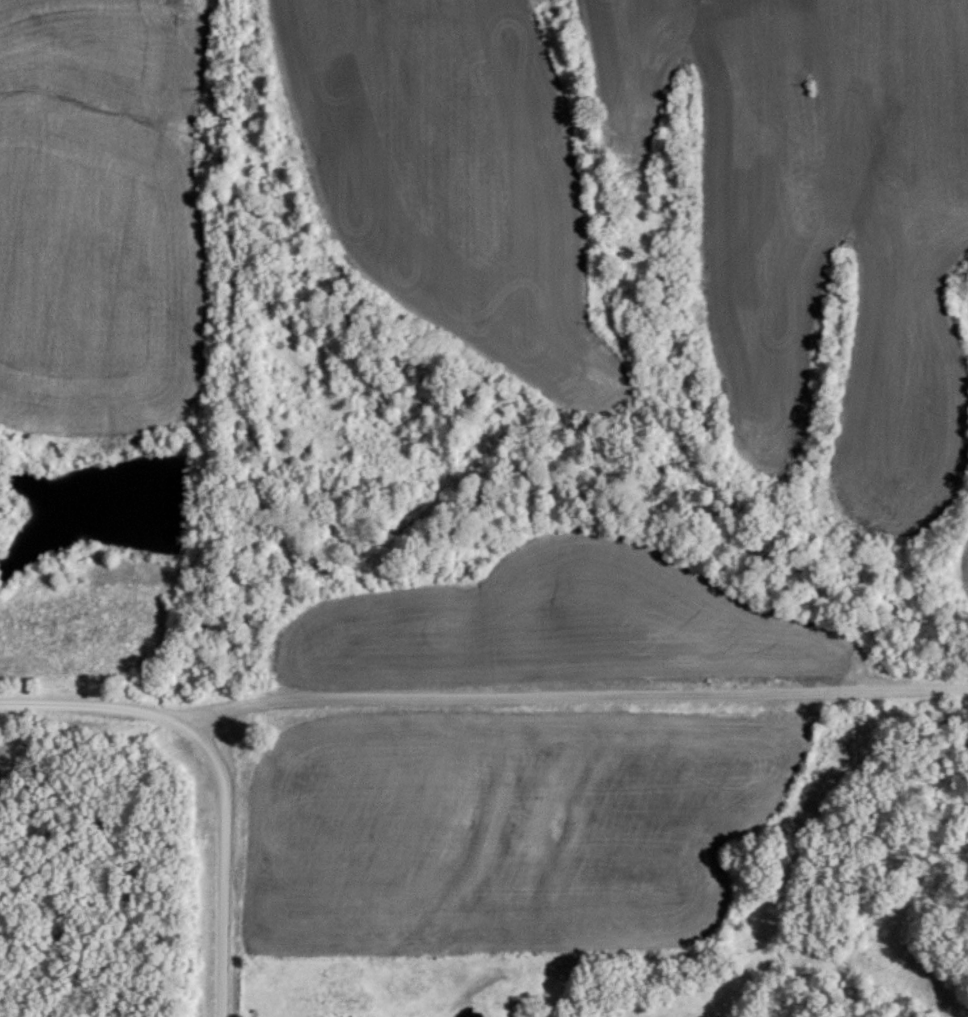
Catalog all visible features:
road: (482, 700)
road: (225, 863)

